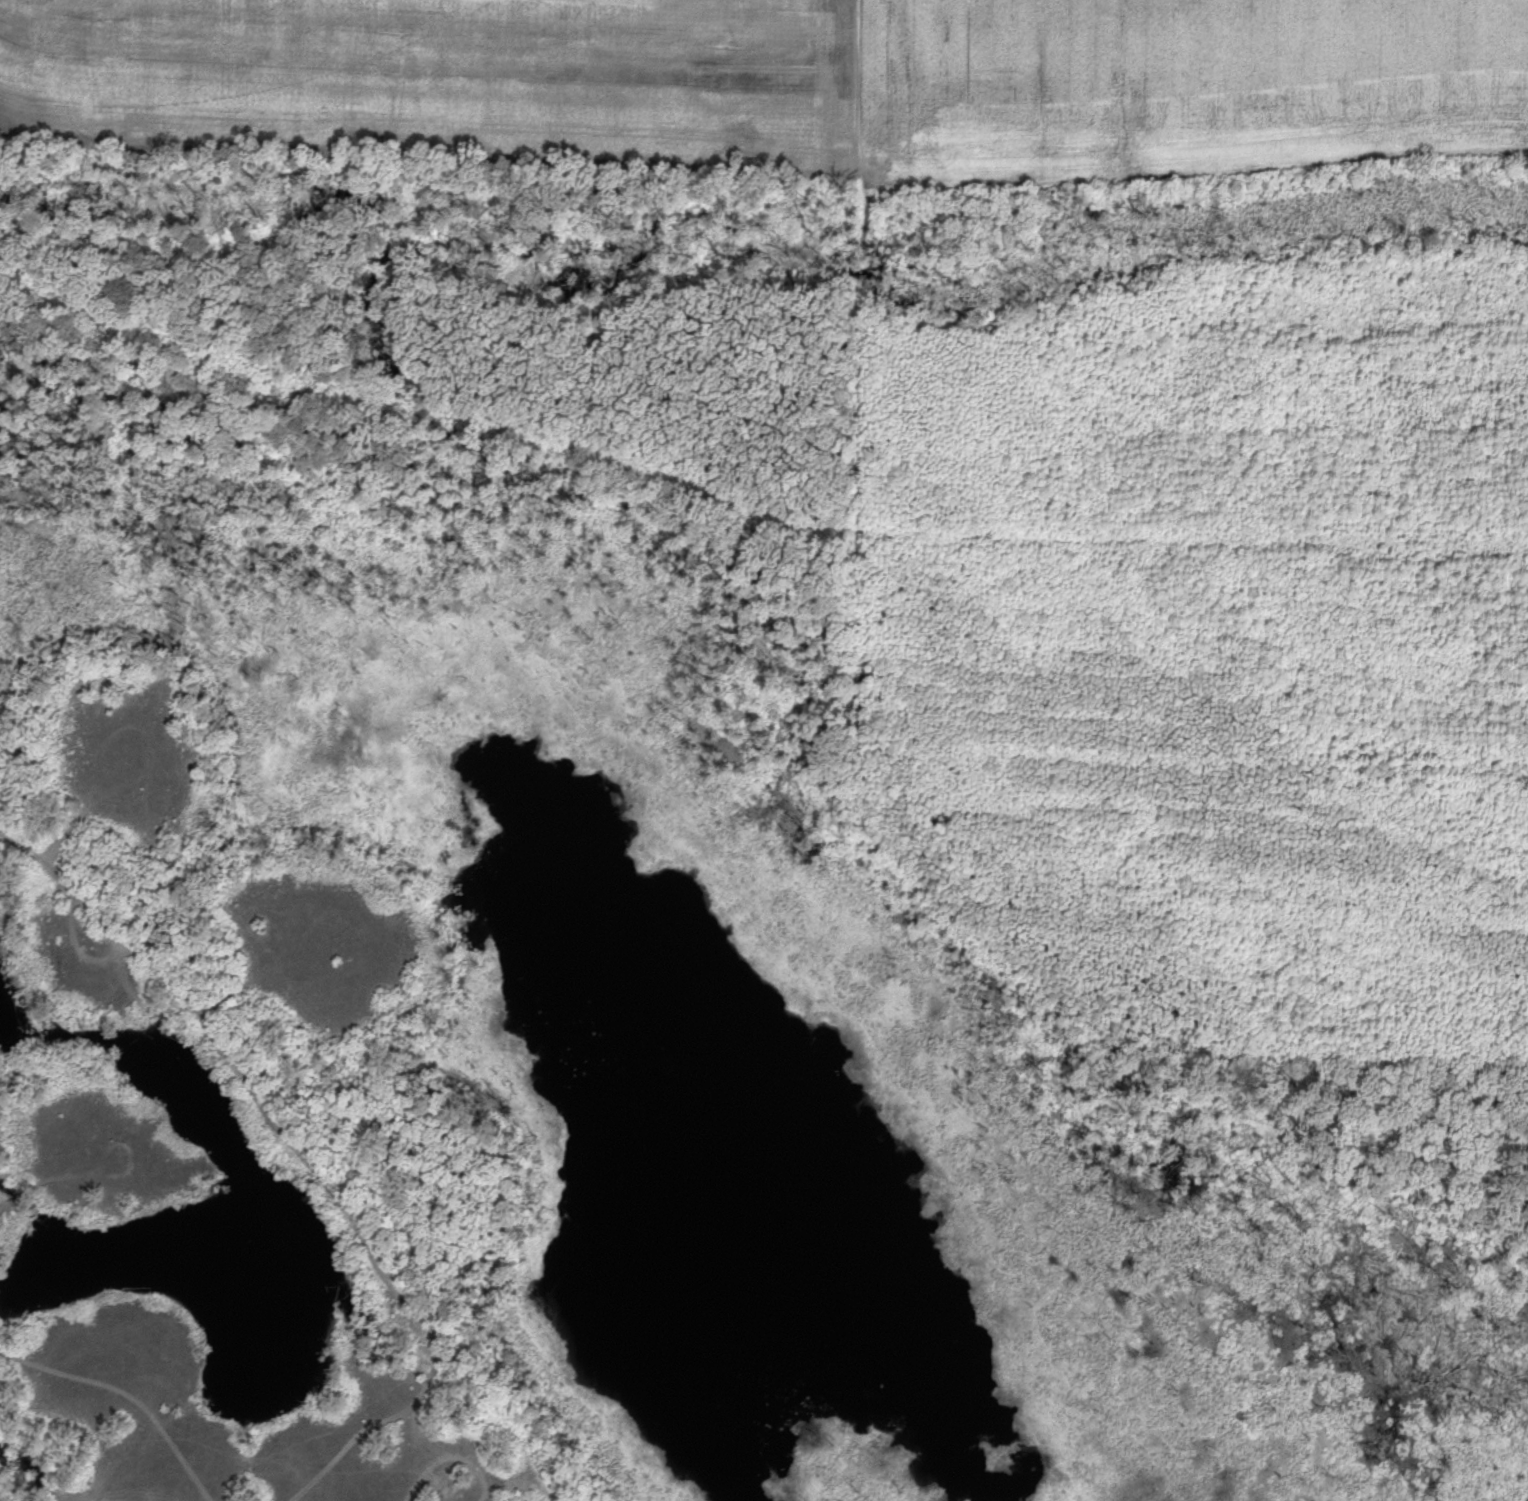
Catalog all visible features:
road: (118, 1144)
road: (29, 1187)
road: (446, 1459)
road: (42, 1491)
road: (482, 1495)

